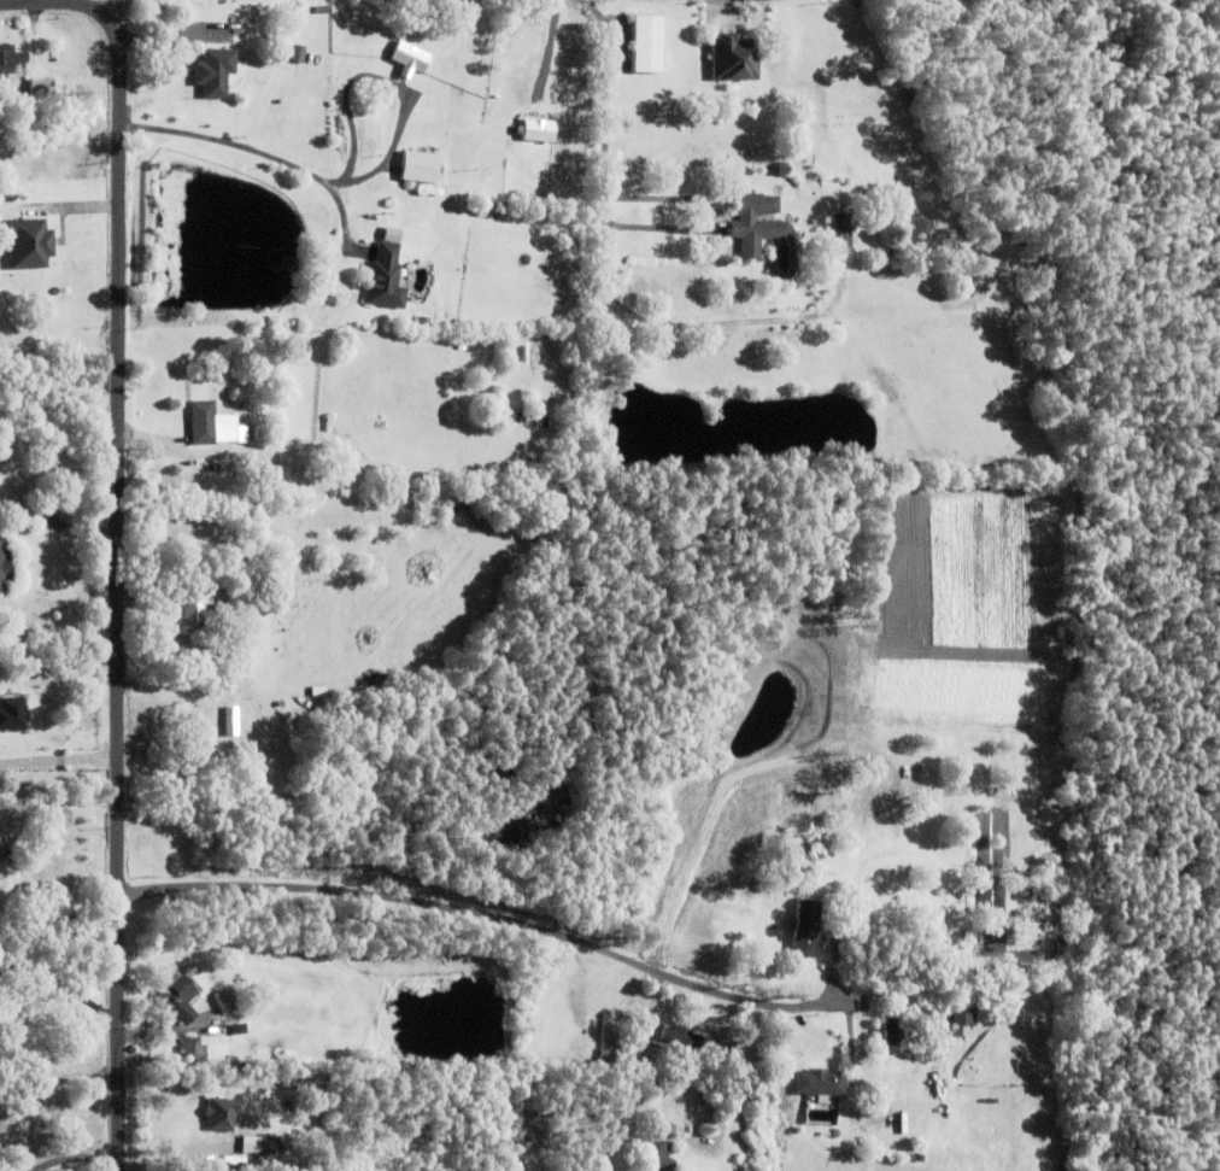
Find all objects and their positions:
building: (323, 7)
road: (112, 8)
building: (222, 16)
building: (259, 18)
building: (647, 39)
building: (298, 51)
building: (733, 53)
building: (10, 57)
building: (406, 58)
building: (215, 69)
building: (41, 84)
building: (407, 106)
building: (533, 129)
building: (366, 140)
road: (606, 146)
road: (265, 154)
building: (420, 165)
building: (482, 209)
building: (753, 223)
building: (843, 236)
building: (28, 239)
building: (289, 262)
building: (386, 276)
building: (979, 280)
building: (980, 293)
building: (421, 318)
building: (203, 421)
building: (280, 423)
building: (327, 452)
building: (235, 462)
building: (270, 469)
building: (430, 508)
road: (119, 537)
building: (194, 614)
building: (319, 690)
building: (11, 713)
building: (241, 719)
building: (932, 754)
road: (59, 765)
building: (872, 781)
building: (1002, 801)
building: (786, 810)
building: (735, 822)
building: (972, 831)
road: (703, 838)
building: (4, 850)
building: (1044, 888)
building: (1062, 913)
road: (481, 915)
building: (948, 923)
building: (805, 927)
building: (880, 929)
building: (1061, 942)
road: (59, 988)
building: (180, 997)
building: (225, 1001)
building: (968, 1014)
building: (239, 1027)
building: (962, 1030)
building: (898, 1032)
building: (682, 1035)
building: (192, 1050)
building: (606, 1055)
building: (820, 1083)
building: (222, 1113)
building: (262, 1143)
building: (656, 1155)

